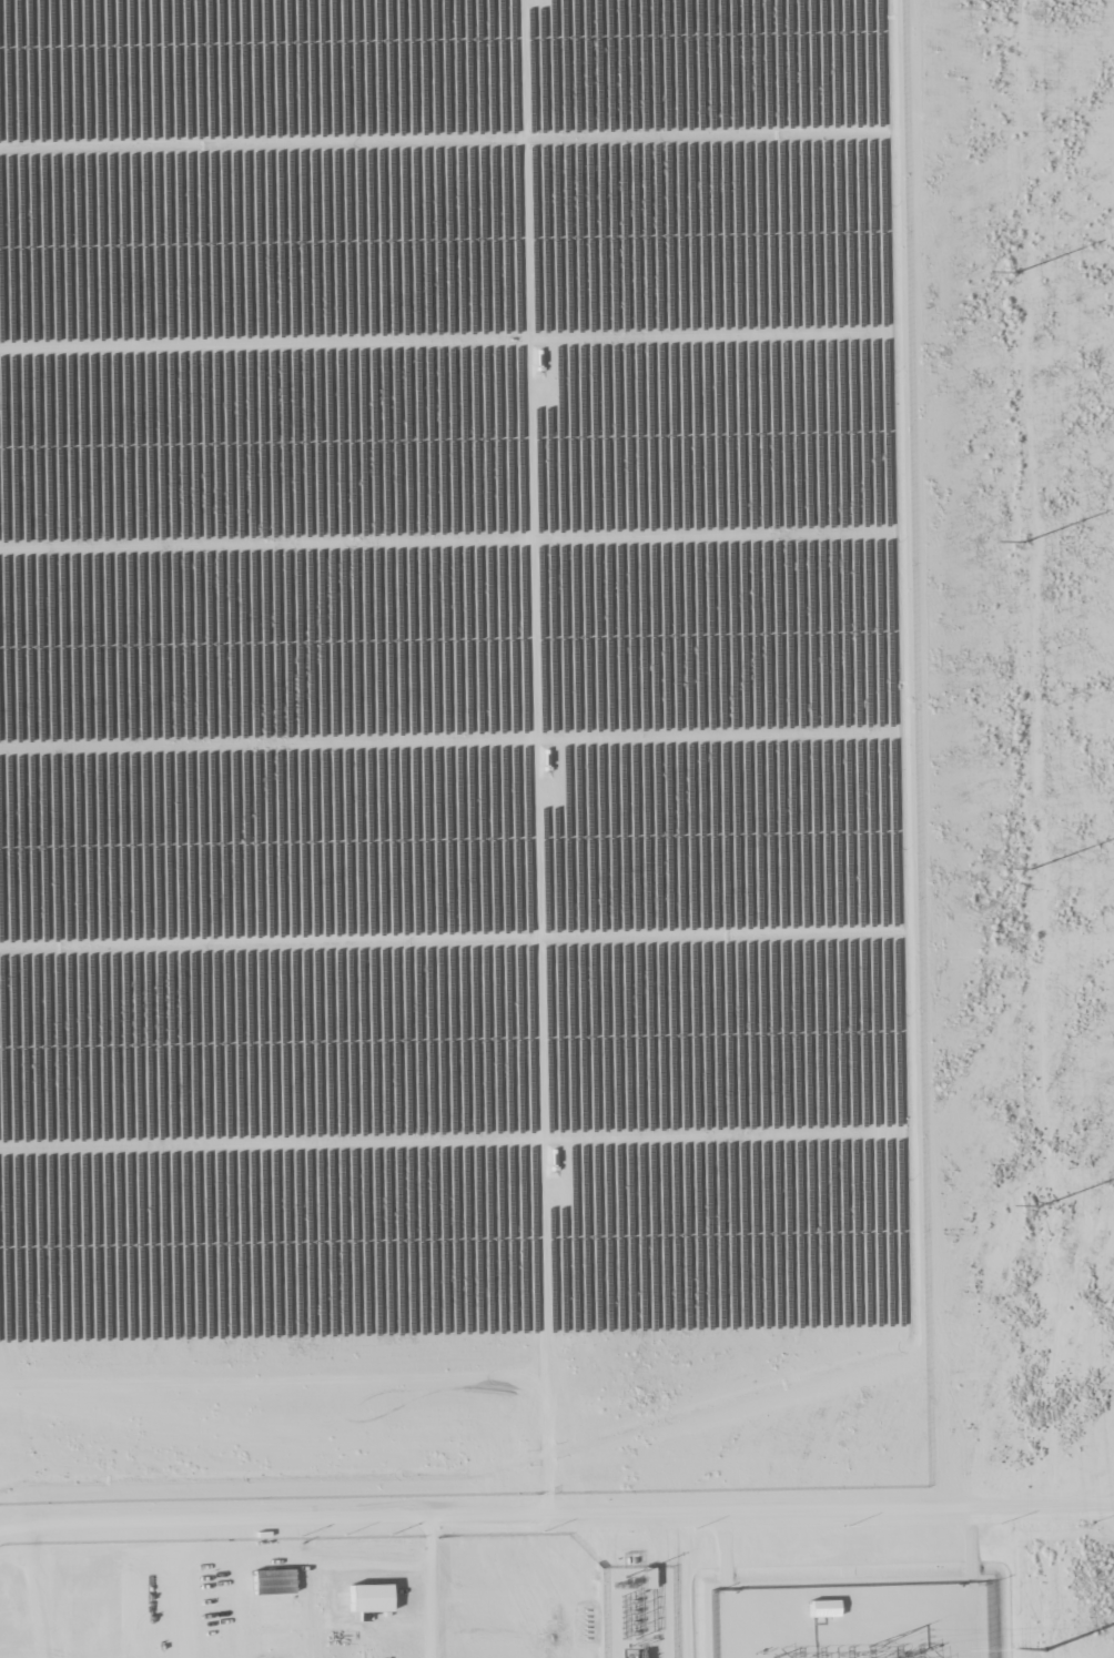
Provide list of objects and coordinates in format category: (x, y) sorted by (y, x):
power tower: (1016, 274)
power tower: (1023, 544)
power tower: (1031, 869)
power tower: (1040, 1207)
building: (649, 1577)
power tower: (1050, 1599)
building: (824, 1608)

